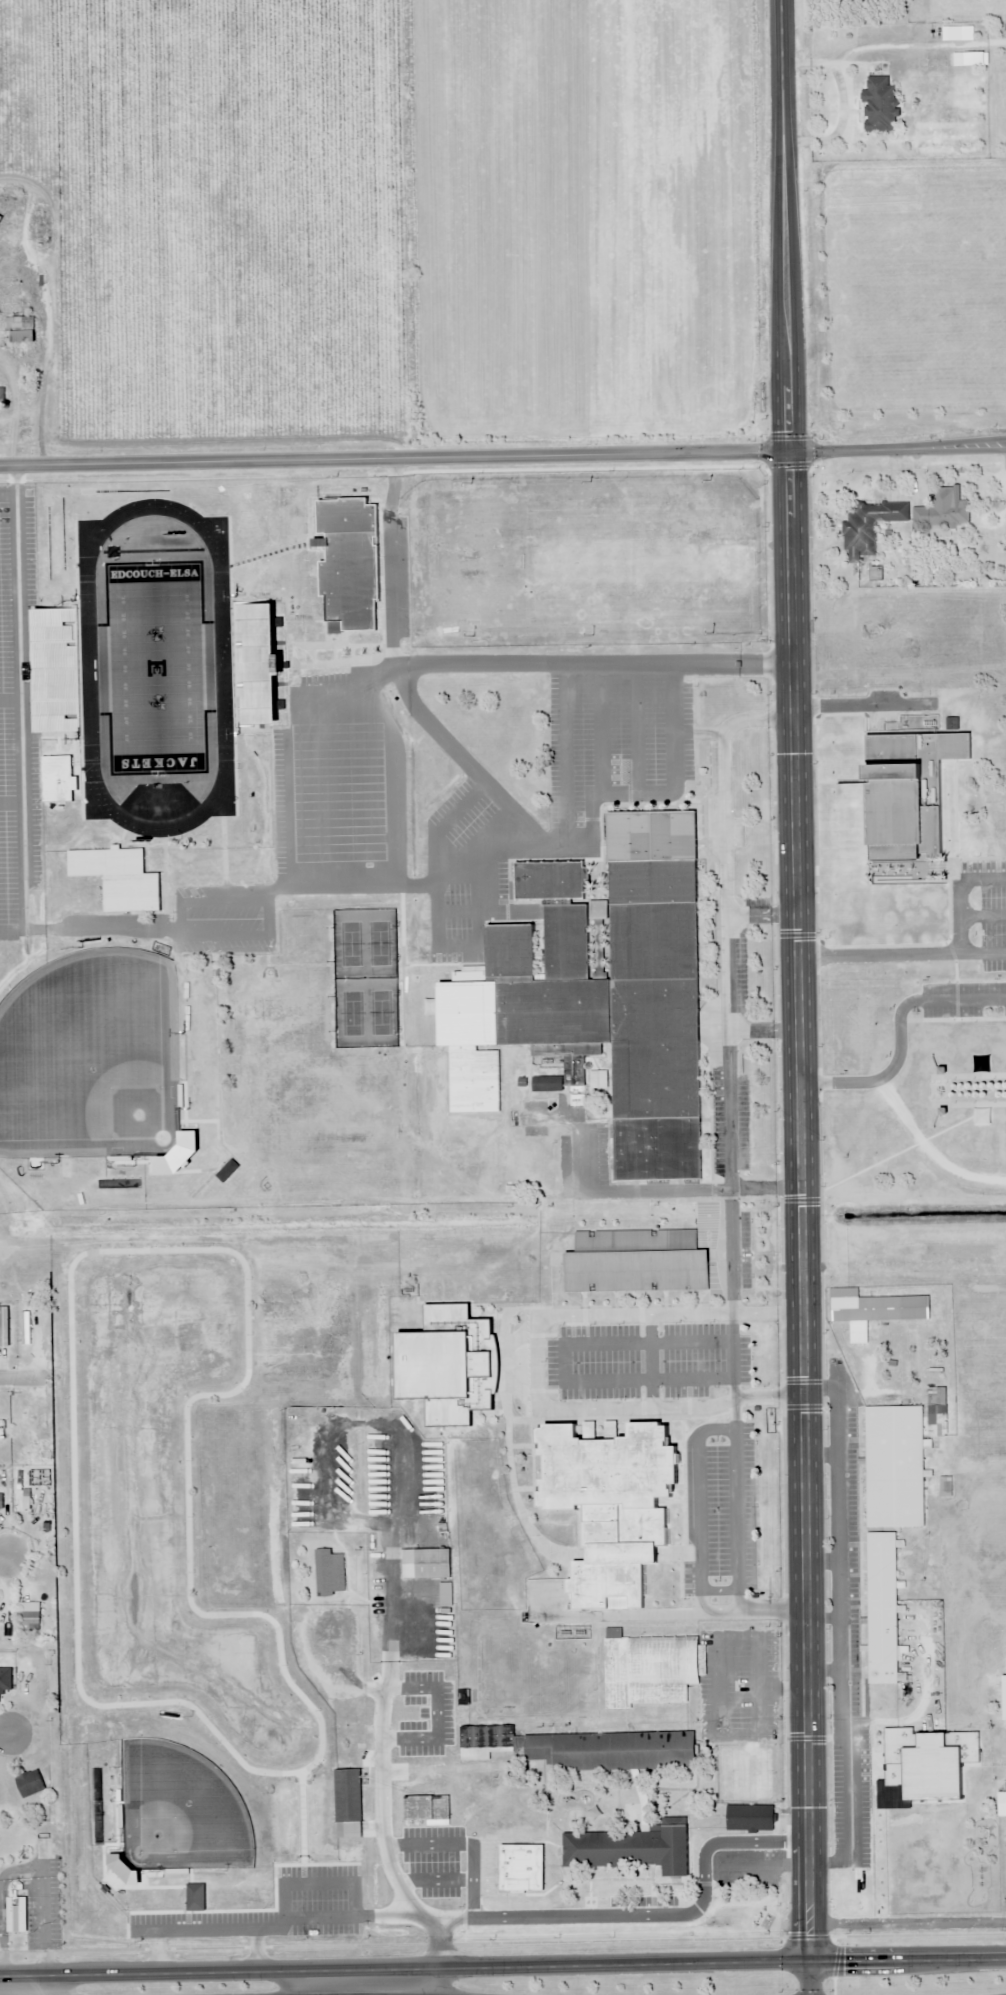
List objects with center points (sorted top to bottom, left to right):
building: (879, 104)
building: (1, 219)
building: (1, 396)
road: (502, 456)
road: (7, 491)
building: (946, 511)
building: (868, 525)
building: (348, 563)
building: (255, 664)
road: (574, 664)
track: (87, 667)
park: (155, 667)
building: (55, 670)
road: (400, 680)
road: (19, 698)
stadium: (163, 698)
road: (10, 700)
road: (637, 728)
road: (601, 729)
road: (699, 732)
road: (566, 755)
road: (394, 782)
building: (910, 794)
road: (11, 803)
road: (445, 822)
road: (558, 846)
building: (118, 879)
road: (458, 911)
road: (763, 916)
road: (89, 928)
road: (178, 932)
park: (350, 943)
park: (379, 943)
road: (468, 945)
road: (727, 985)
building: (597, 993)
road: (803, 997)
park: (380, 1012)
park: (351, 1013)
road: (766, 1030)
park: (85, 1056)
building: (524, 1166)
building: (227, 1171)
building: (195, 1175)
road: (639, 1190)
building: (636, 1261)
railway: (503, 1274)
building: (875, 1307)
road: (733, 1355)
road: (651, 1360)
road: (564, 1362)
road: (537, 1364)
road: (19, 1377)
building: (936, 1413)
building: (31, 1430)
building: (894, 1467)
building: (1, 1503)
road: (698, 1503)
road: (736, 1504)
building: (604, 1518)
road: (3, 1555)
building: (426, 1564)
park: (193, 1566)
building: (329, 1573)
road: (719, 1589)
building: (44, 1593)
building: (445, 1595)
road: (669, 1612)
building: (883, 1614)
building: (649, 1668)
building: (5, 1679)
building: (1004, 1697)
road: (4, 1734)
building: (929, 1761)
building: (553, 1763)
building: (30, 1783)
building: (348, 1803)
building: (1001, 1803)
building: (425, 1807)
building: (749, 1817)
building: (630, 1846)
building: (43, 1848)
building: (528, 1870)
building: (195, 1897)
building: (17, 1916)
road: (758, 1963)
traffic signals: (814, 1963)
road: (278, 1968)
road: (297, 1981)
road: (25, 1989)
road: (57, 1992)

